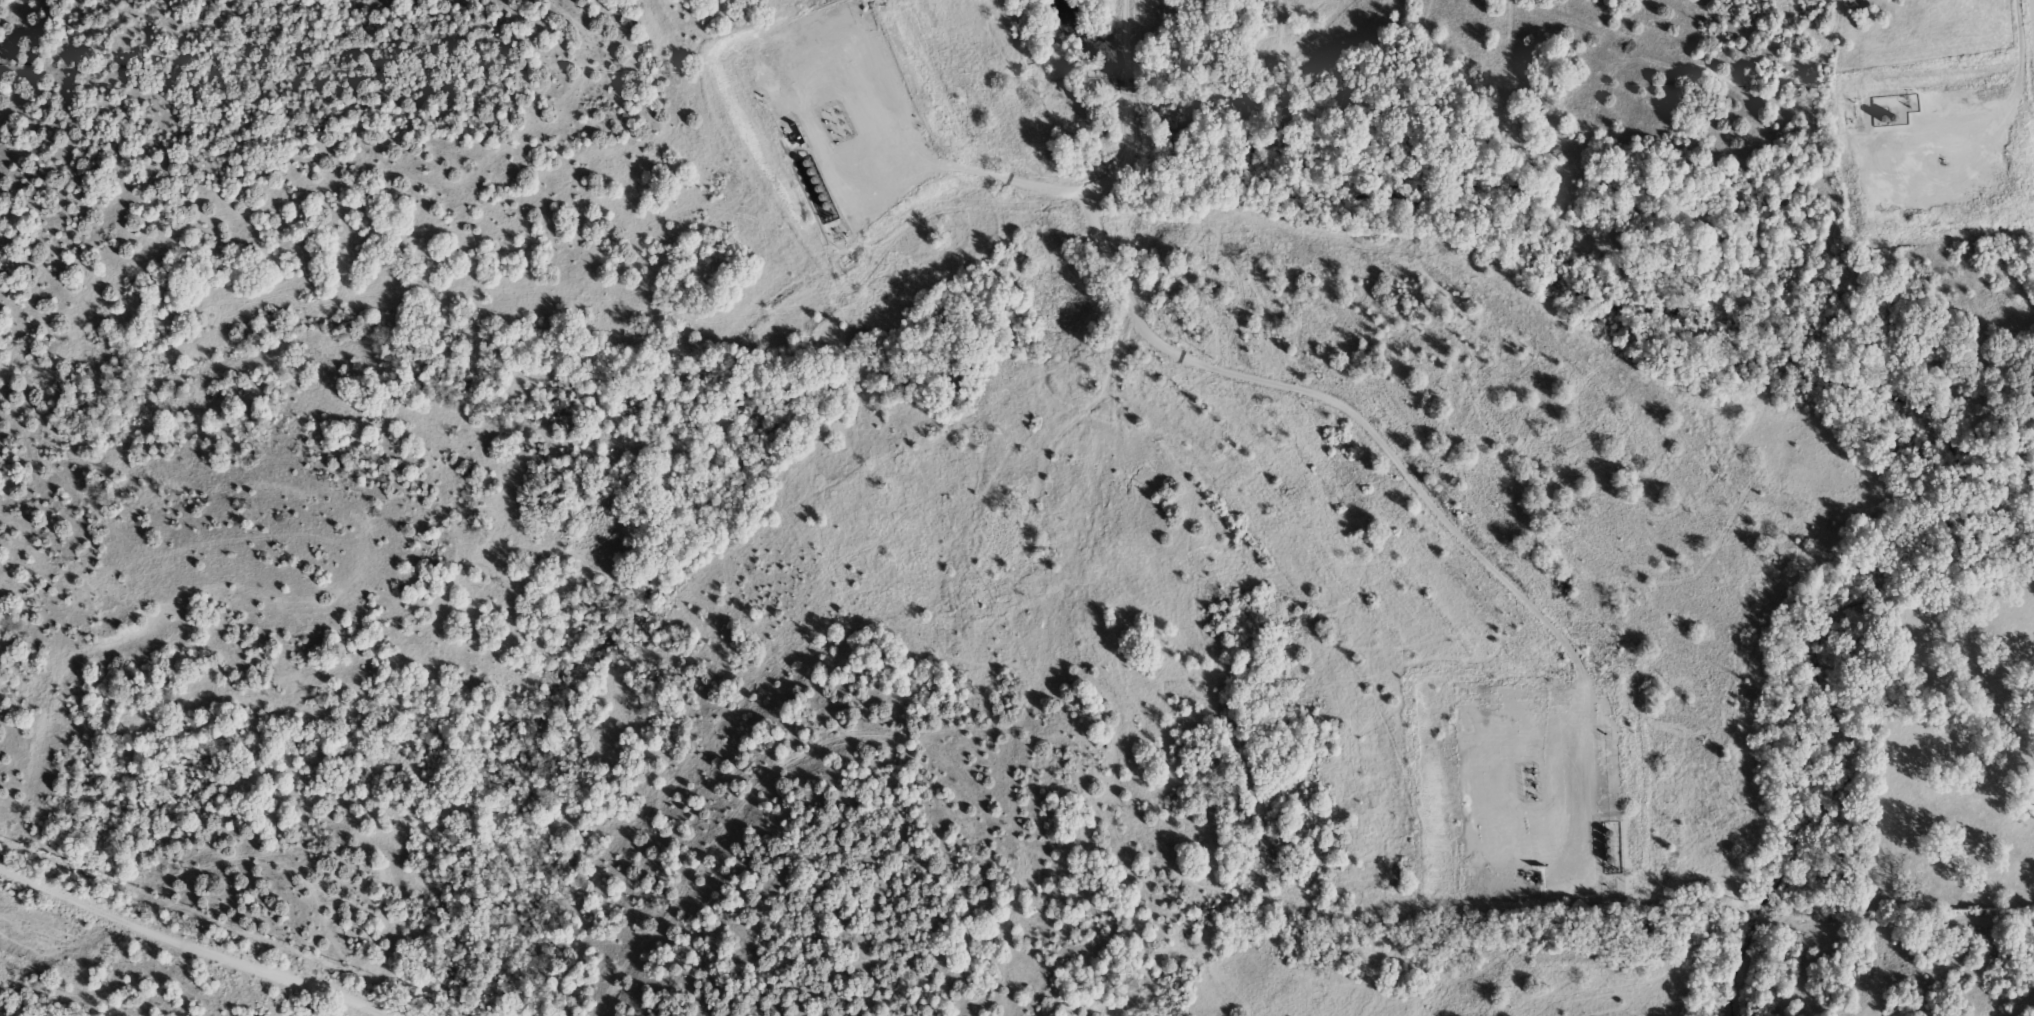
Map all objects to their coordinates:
road: (2020, 98)
building: (1895, 109)
road: (1117, 172)
road: (1012, 176)
road: (1387, 447)
road: (185, 944)

